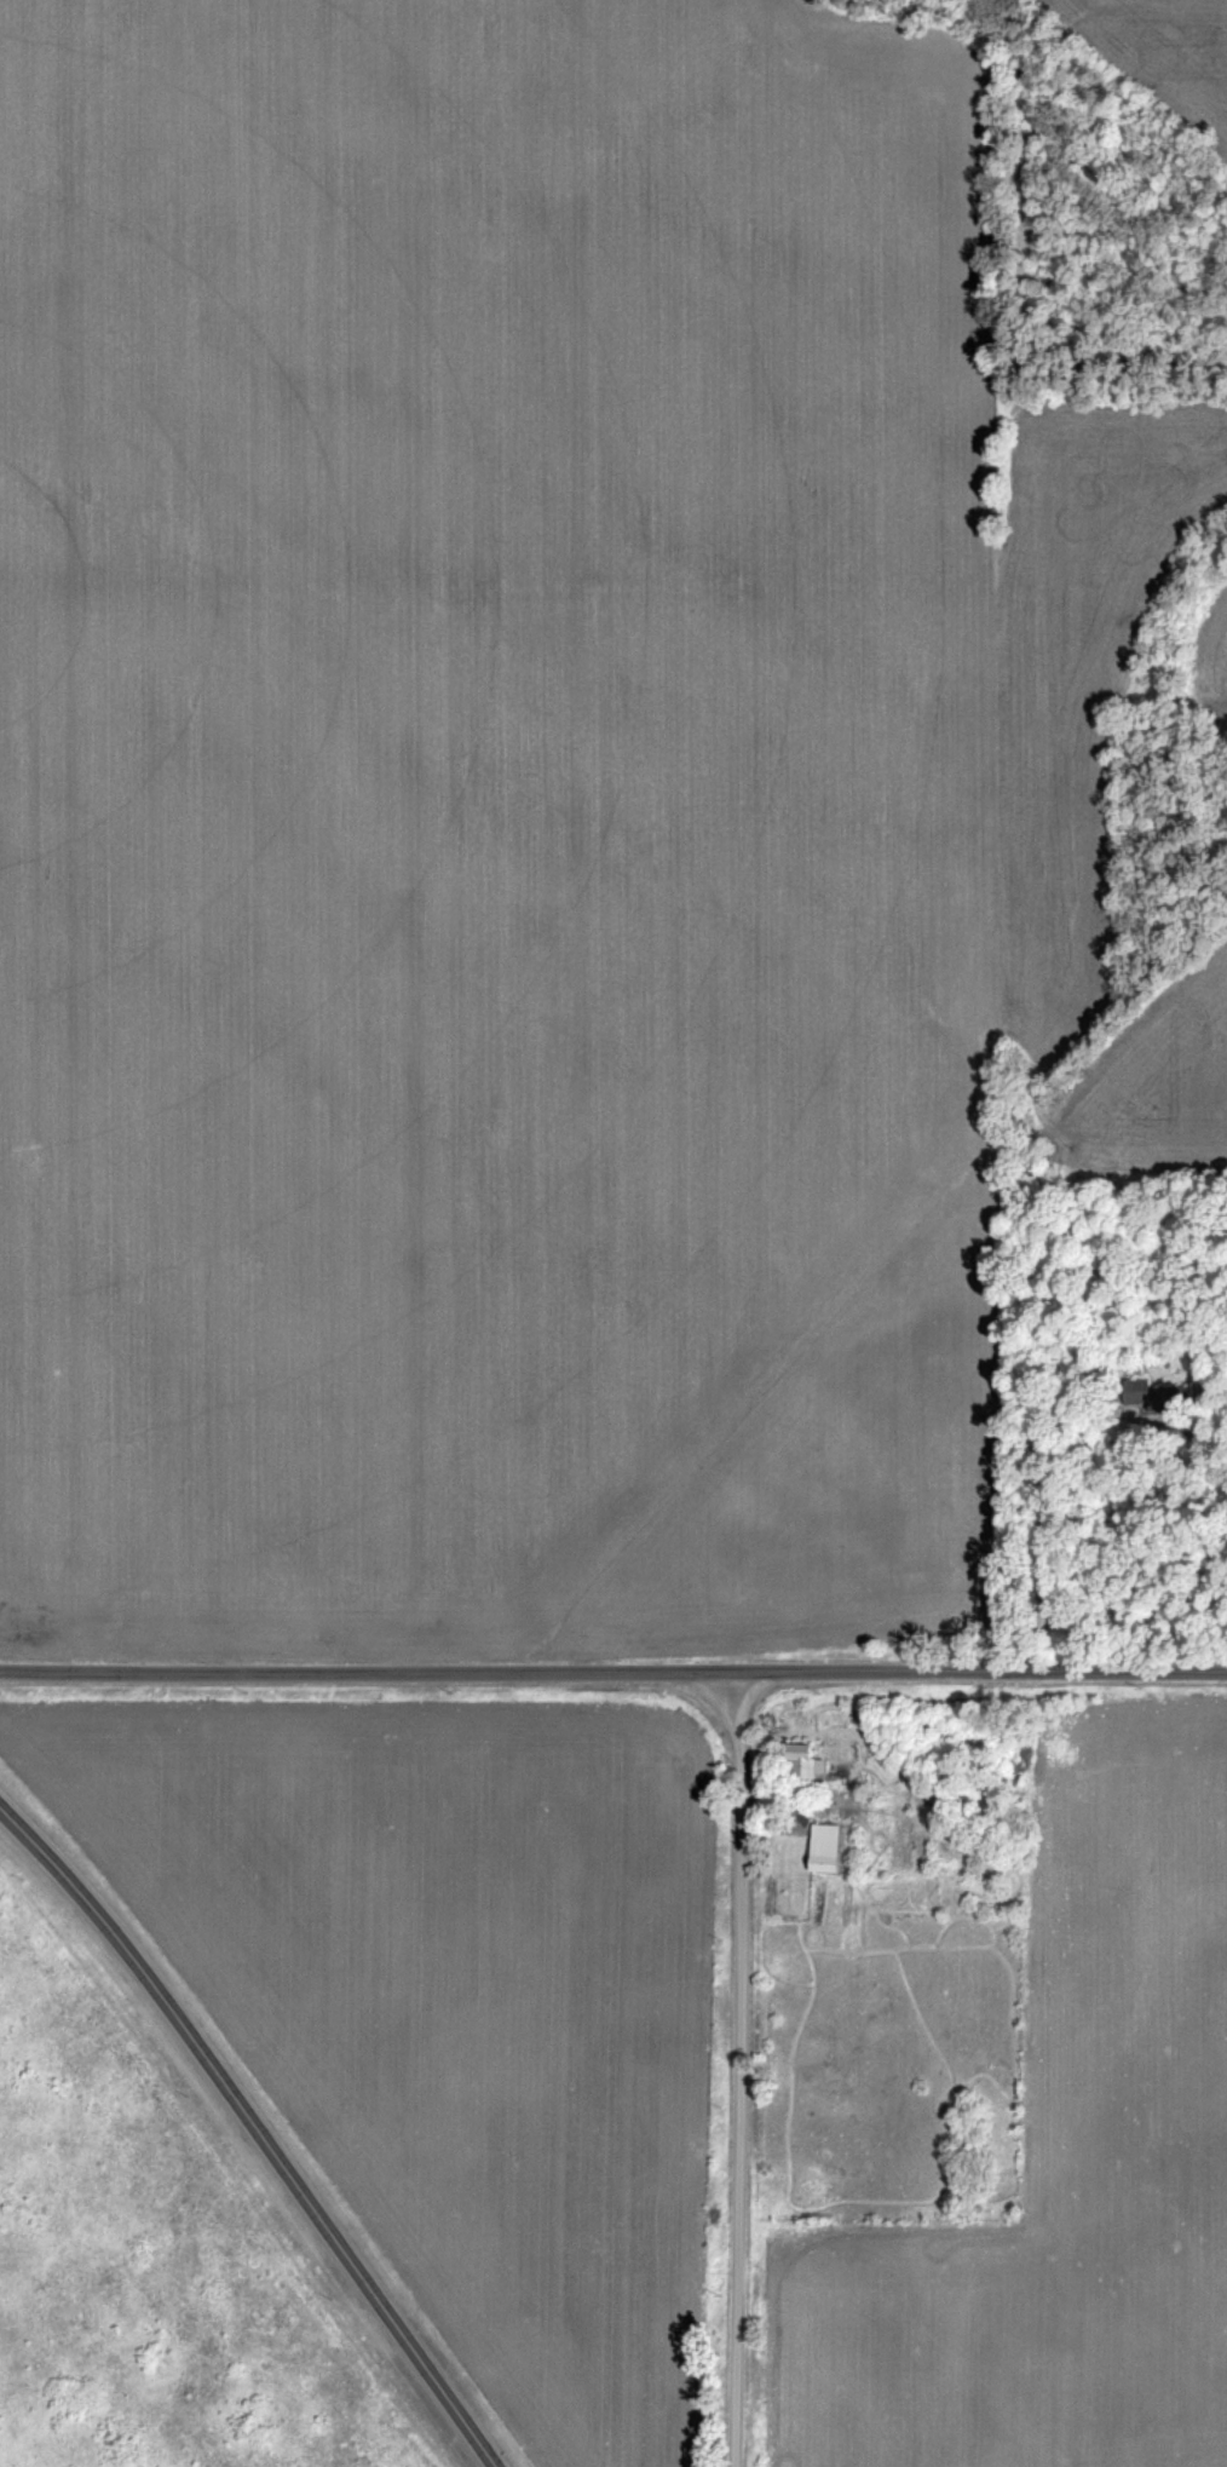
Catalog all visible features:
crop: (1171, 40)
crop: (501, 770)
crop: (1153, 1094)
building: (1131, 1387)
building: (1165, 1394)
road: (1037, 1535)
road: (613, 1672)
building: (806, 1760)
building: (829, 1846)
crop: (447, 2013)
road: (737, 2069)
road: (253, 2134)

